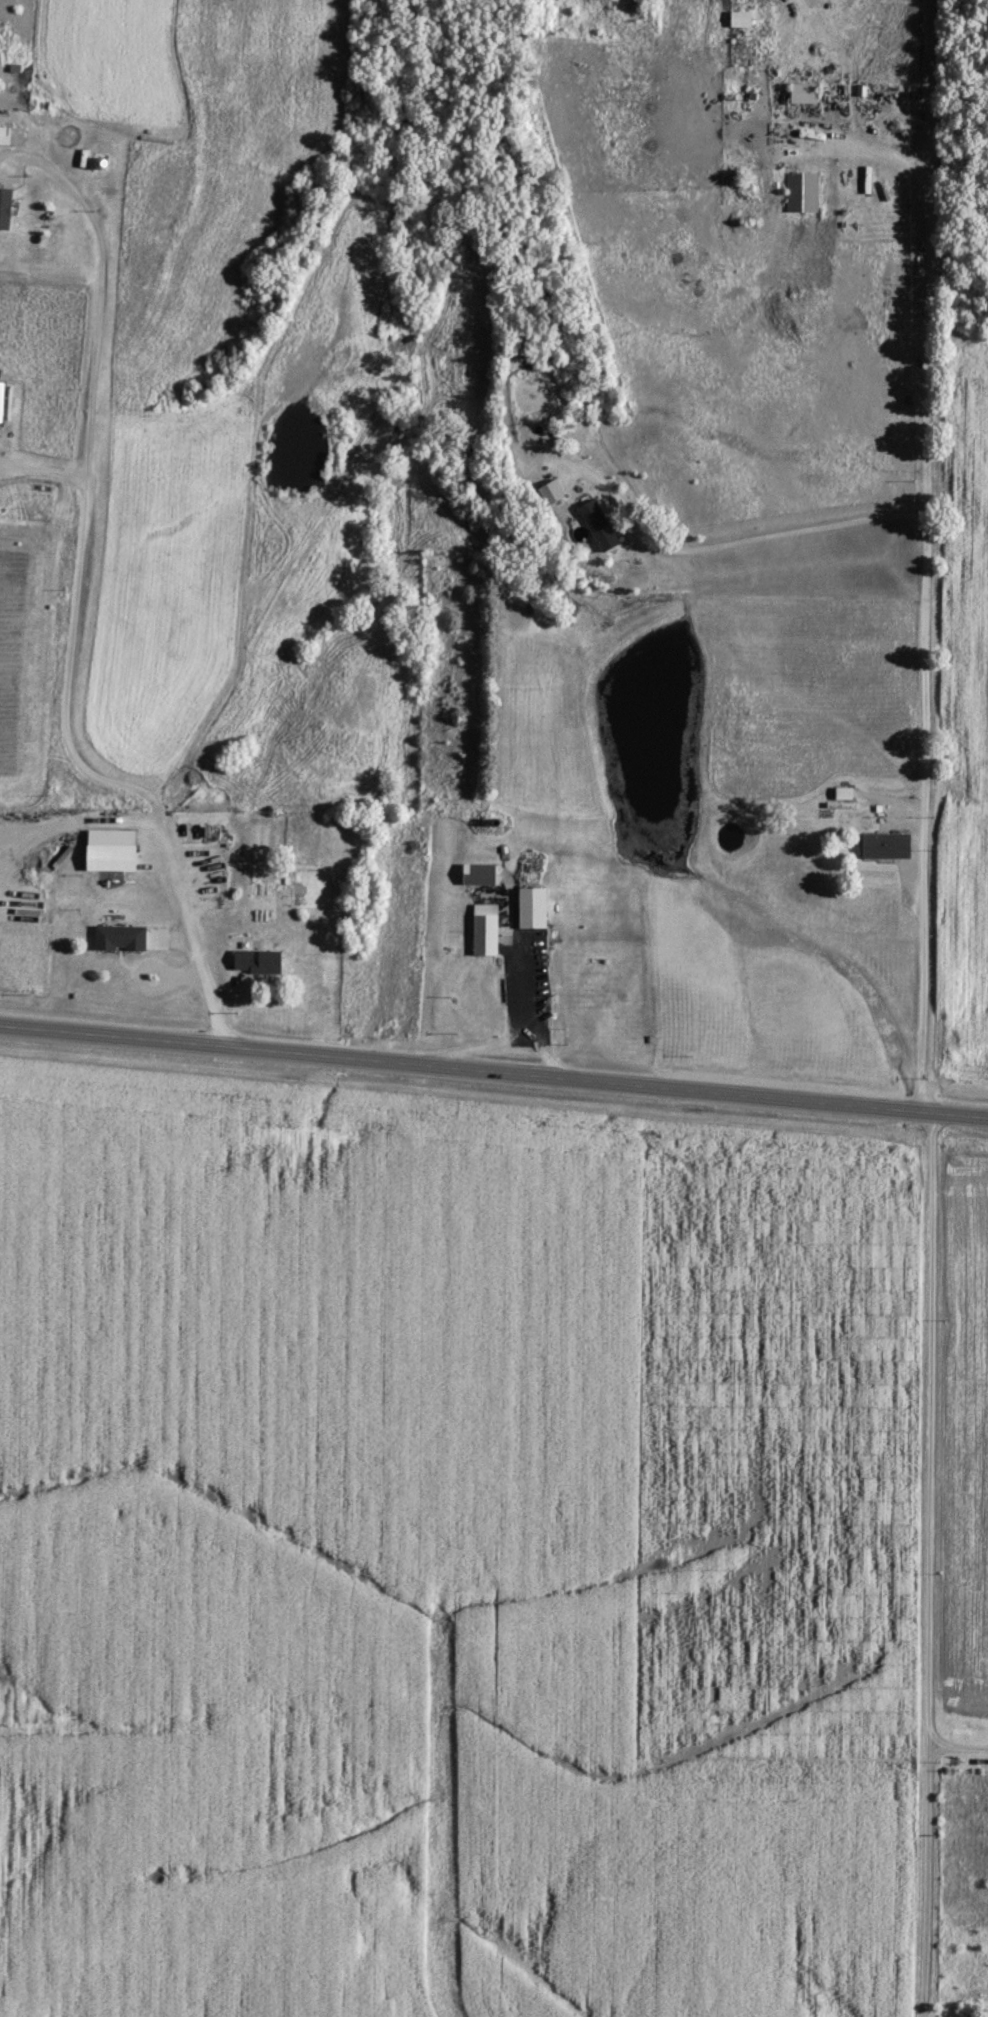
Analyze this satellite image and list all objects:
building: (744, 17)
building: (808, 92)
building: (14, 134)
building: (802, 190)
building: (6, 207)
building: (2, 400)
building: (554, 491)
building: (601, 524)
building: (889, 844)
building: (116, 849)
building: (481, 873)
building: (536, 907)
building: (488, 928)
building: (123, 937)
building: (262, 960)
road: (493, 1070)

